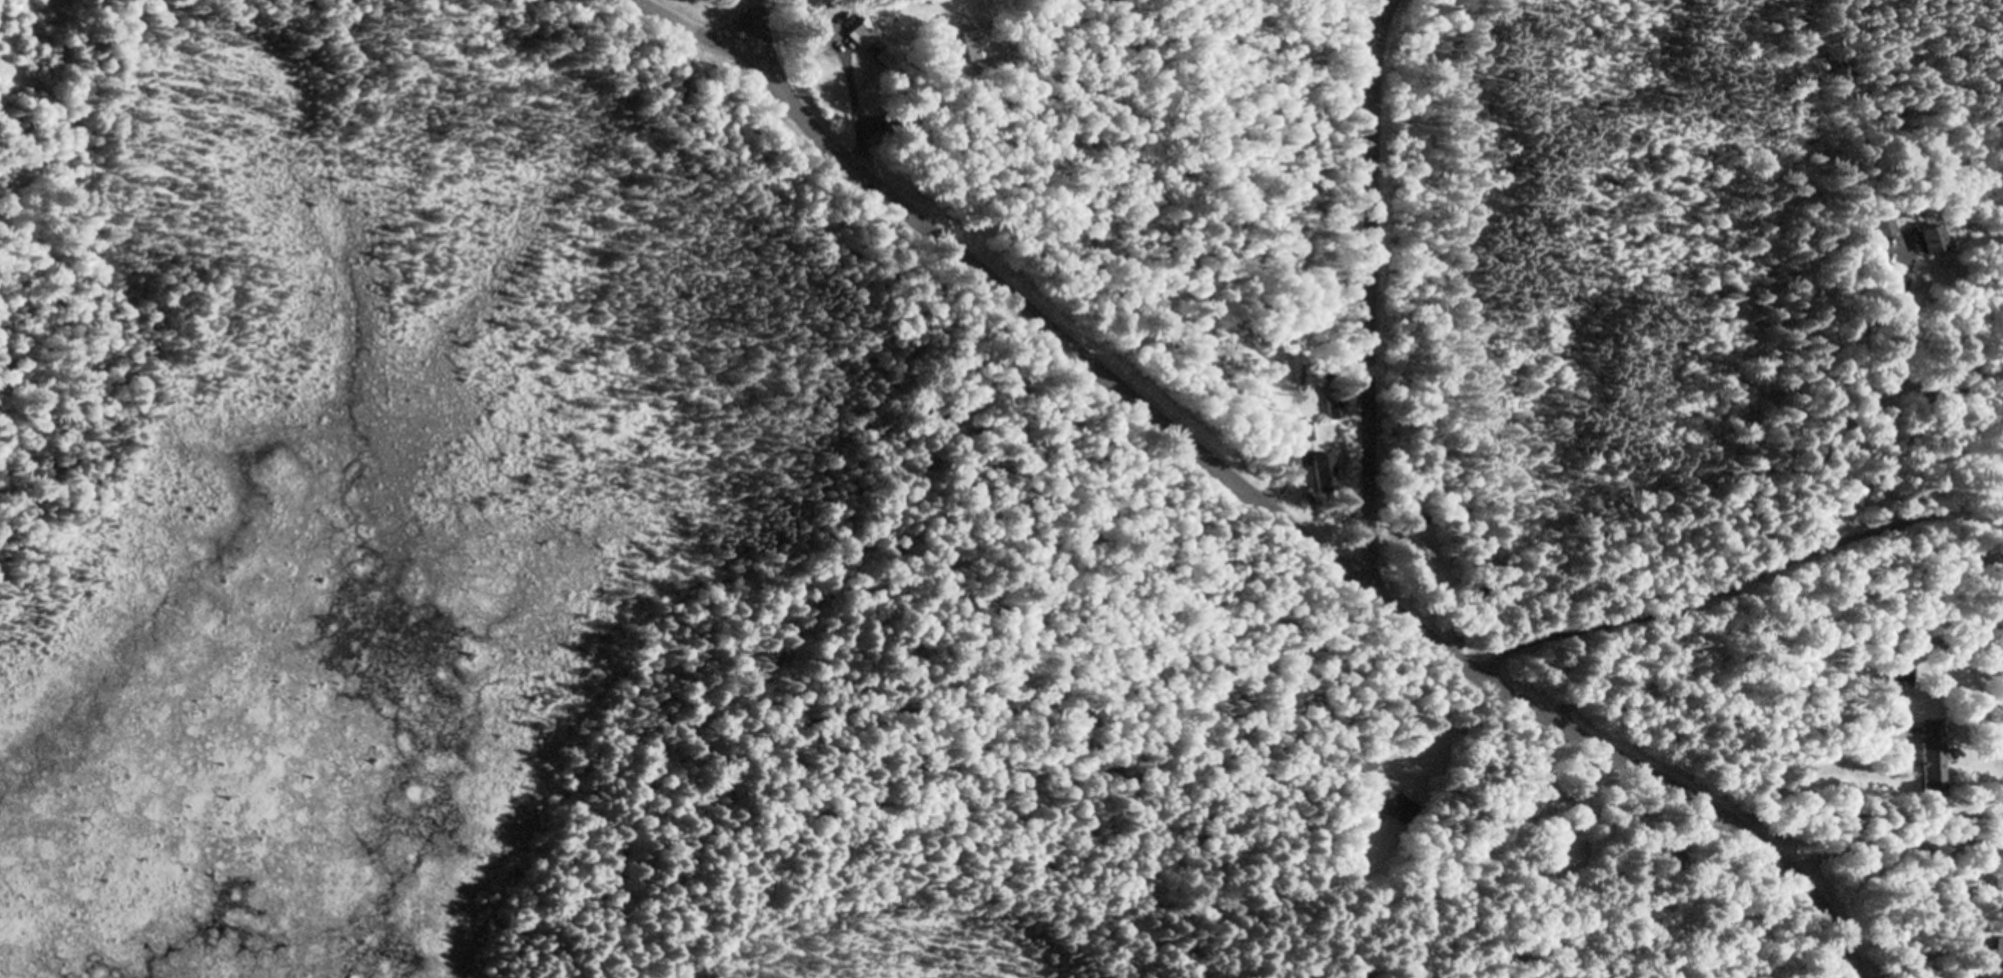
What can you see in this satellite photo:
road: (687, 31)
building: (873, 44)
building: (1882, 226)
building: (1930, 241)
road: (1369, 292)
building: (1333, 410)
building: (1301, 432)
building: (1323, 473)
building: (1853, 496)
road: (1276, 517)
building: (1422, 561)
road: (1711, 585)
building: (1993, 609)
road: (1772, 657)
building: (1931, 757)
building: (1386, 804)
building: (1996, 835)
building: (1997, 950)

